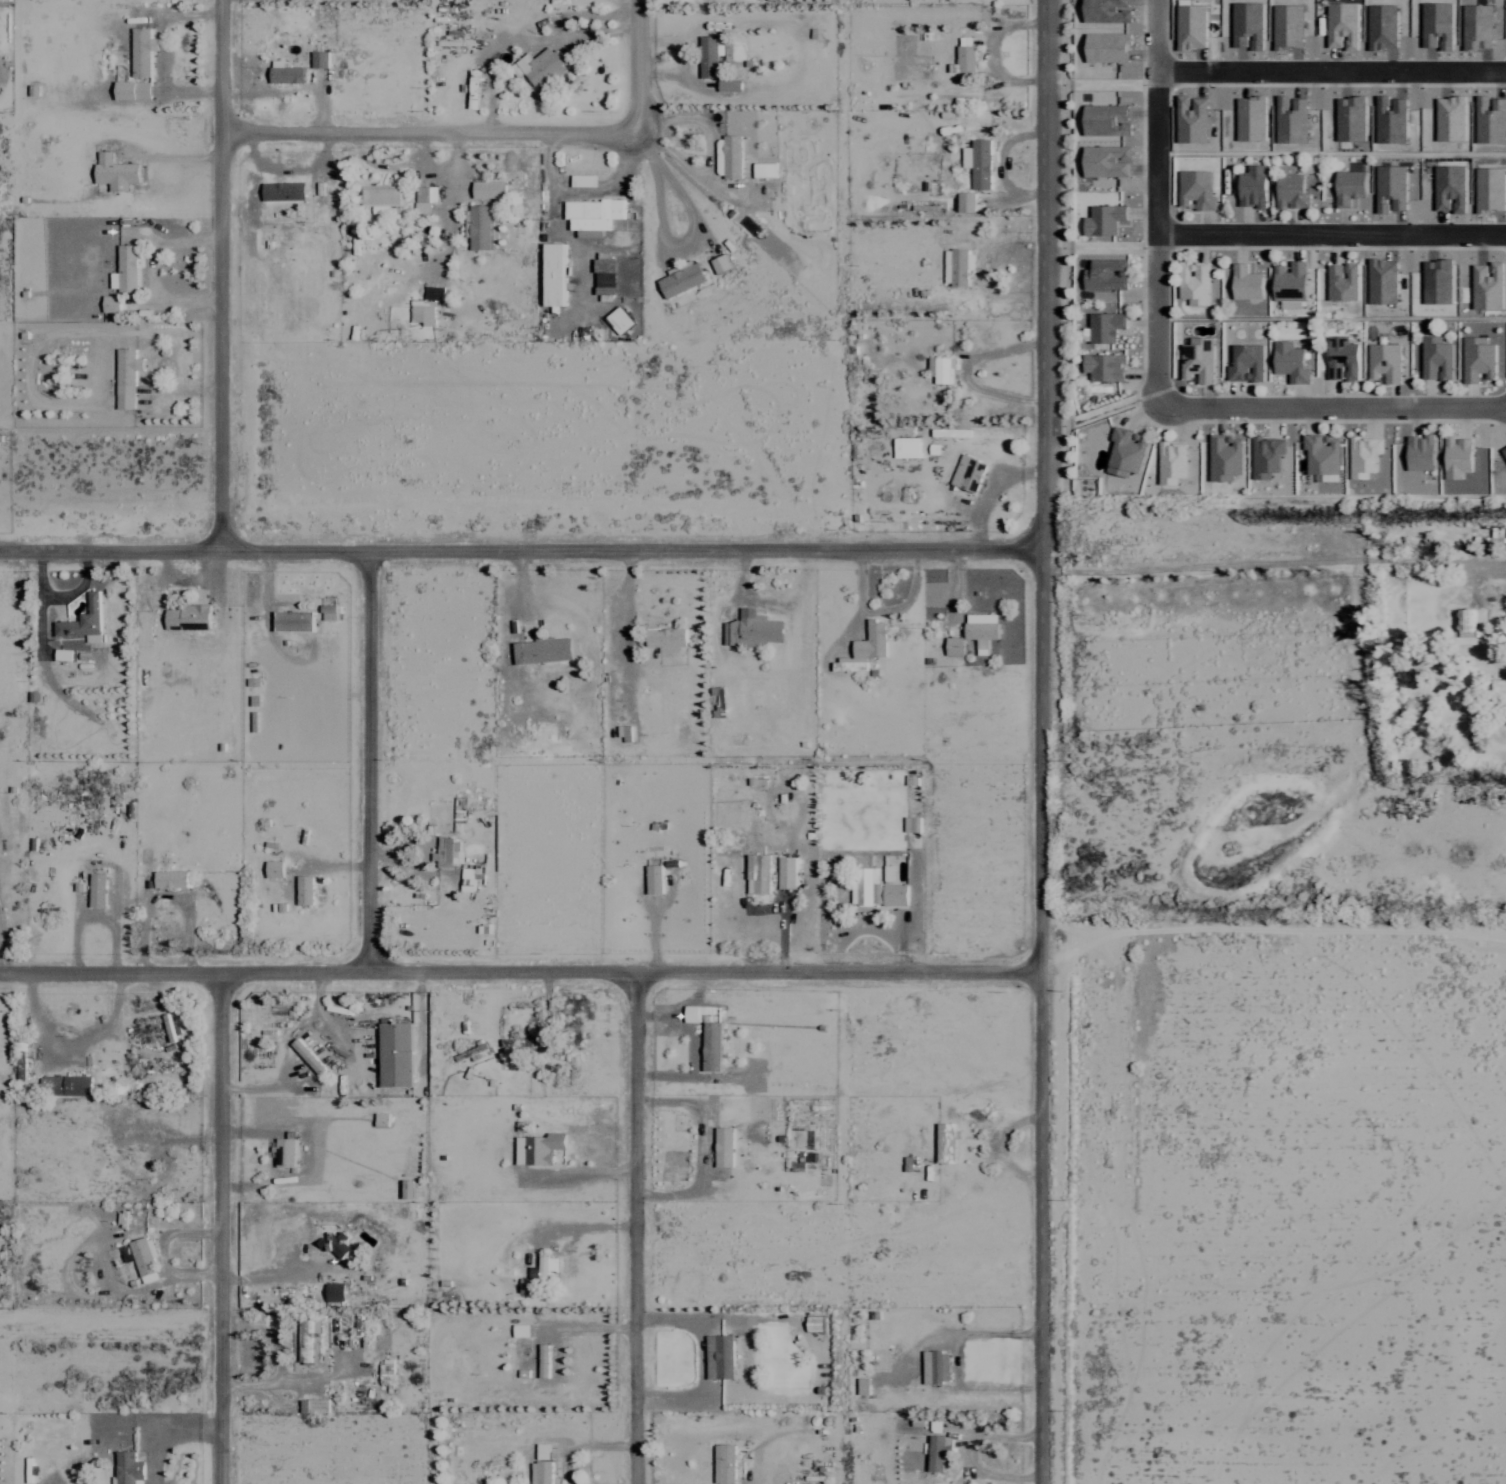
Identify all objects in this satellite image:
building: (5, 0)
building: (142, 50)
road: (646, 53)
building: (966, 53)
building: (710, 55)
building: (320, 58)
building: (542, 65)
road: (1332, 71)
building: (286, 72)
building: (730, 84)
building: (474, 88)
building: (133, 89)
road: (438, 135)
building: (733, 155)
building: (979, 162)
building: (765, 169)
building: (116, 171)
building: (584, 179)
building: (1254, 186)
building: (1350, 186)
building: (1197, 188)
building: (489, 189)
building: (284, 190)
building: (1292, 190)
building: (381, 197)
building: (424, 198)
building: (966, 201)
road: (1158, 204)
building: (592, 213)
building: (1105, 218)
building: (480, 226)
road: (1332, 237)
building: (721, 263)
building: (958, 266)
building: (127, 267)
building: (554, 273)
building: (1108, 273)
road: (222, 276)
building: (607, 278)
building: (682, 279)
building: (1291, 280)
building: (1343, 280)
building: (1195, 282)
building: (1247, 282)
building: (111, 303)
building: (423, 311)
building: (620, 320)
building: (1106, 326)
building: (1342, 358)
building: (1437, 358)
building: (1198, 359)
building: (1479, 359)
building: (1291, 361)
building: (1385, 362)
building: (1247, 363)
building: (1105, 366)
building: (941, 369)
building: (127, 377)
road: (1334, 410)
building: (905, 447)
building: (1127, 451)
building: (1504, 451)
building: (1421, 452)
building: (1267, 455)
building: (1364, 455)
building: (1323, 456)
building: (1458, 456)
building: (1225, 457)
building: (1172, 462)
building: (969, 472)
road: (520, 553)
building: (328, 612)
building: (189, 617)
building: (295, 620)
building: (1466, 620)
building: (84, 621)
building: (752, 629)
building: (982, 629)
building: (666, 638)
building: (955, 646)
building: (866, 647)
building: (543, 650)
building: (64, 654)
building: (624, 732)
road: (1039, 741)
road: (375, 762)
building: (912, 824)
building: (448, 851)
building: (274, 869)
building: (786, 872)
building: (759, 873)
building: (171, 879)
building: (467, 879)
building: (654, 879)
building: (97, 889)
building: (305, 889)
building: (876, 889)
road: (518, 972)
building: (691, 1013)
building: (168, 1027)
building: (712, 1046)
building: (396, 1054)
building: (308, 1056)
building: (67, 1085)
building: (946, 1142)
building: (724, 1146)
building: (539, 1148)
building: (286, 1150)
building: (409, 1189)
road: (636, 1227)
road: (217, 1228)
building: (145, 1259)
building: (540, 1274)
building: (335, 1291)
building: (816, 1323)
building: (521, 1331)
building: (312, 1340)
building: (720, 1356)
building: (543, 1360)
building: (936, 1367)
building: (388, 1373)
building: (520, 1375)
building: (863, 1386)
building: (314, 1405)
building: (544, 1451)
building: (940, 1452)
building: (725, 1464)
building: (129, 1468)
building: (542, 1472)
building: (819, 1483)

